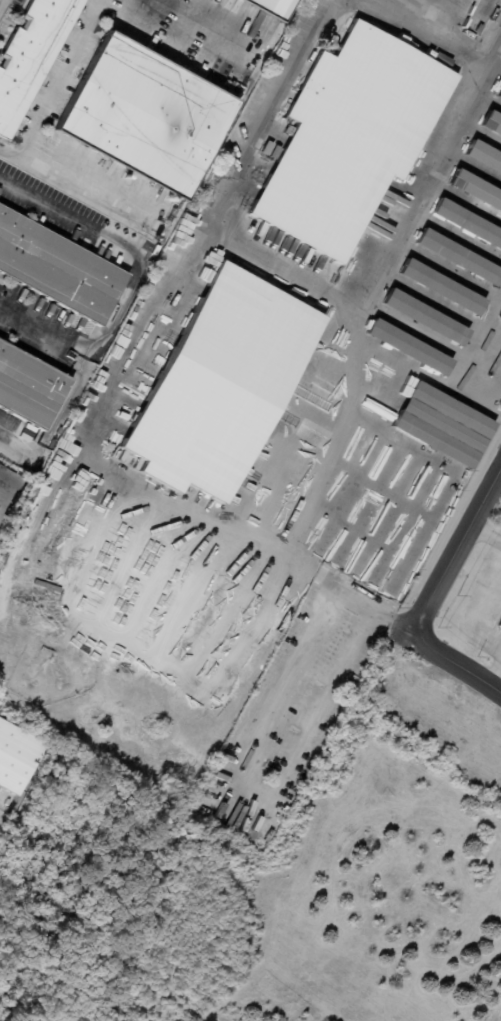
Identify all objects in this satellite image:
road: (1, 2)
building: (269, 6)
building: (424, 12)
road: (198, 25)
railway: (488, 26)
railway: (492, 38)
building: (32, 56)
road: (56, 84)
building: (499, 96)
building: (146, 114)
building: (47, 122)
building: (492, 125)
building: (500, 141)
building: (349, 142)
building: (275, 154)
building: (485, 157)
building: (500, 180)
road: (82, 181)
building: (477, 190)
road: (415, 202)
road: (44, 204)
building: (500, 215)
building: (468, 224)
building: (459, 258)
building: (58, 268)
building: (442, 288)
building: (425, 318)
road: (116, 322)
road: (351, 333)
building: (409, 349)
road: (351, 370)
road: (122, 386)
building: (32, 387)
building: (221, 388)
building: (445, 425)
road: (8, 453)
road: (485, 535)
road: (456, 548)
building: (328, 560)
building: (500, 627)
road: (456, 662)
road: (493, 671)
building: (16, 757)
road: (253, 787)

